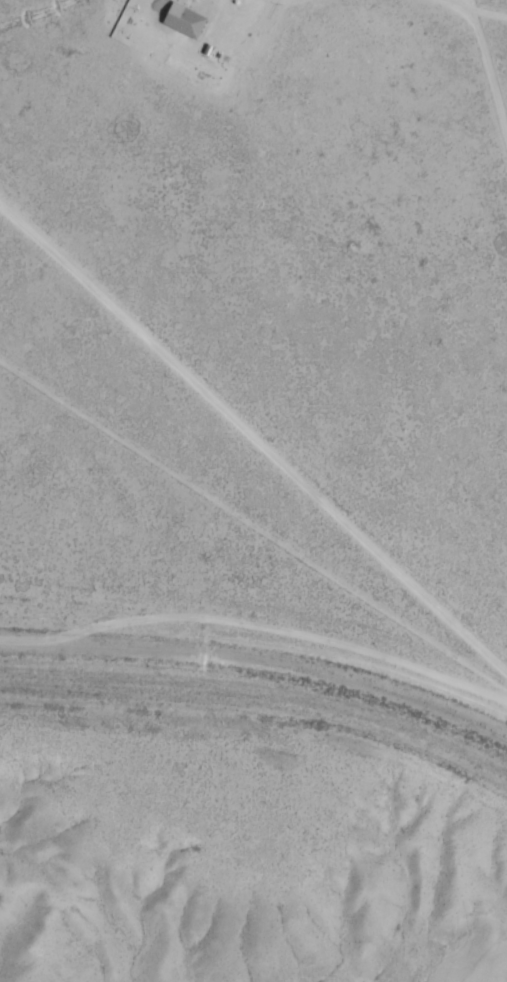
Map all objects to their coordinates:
road: (255, 488)
road: (256, 635)

